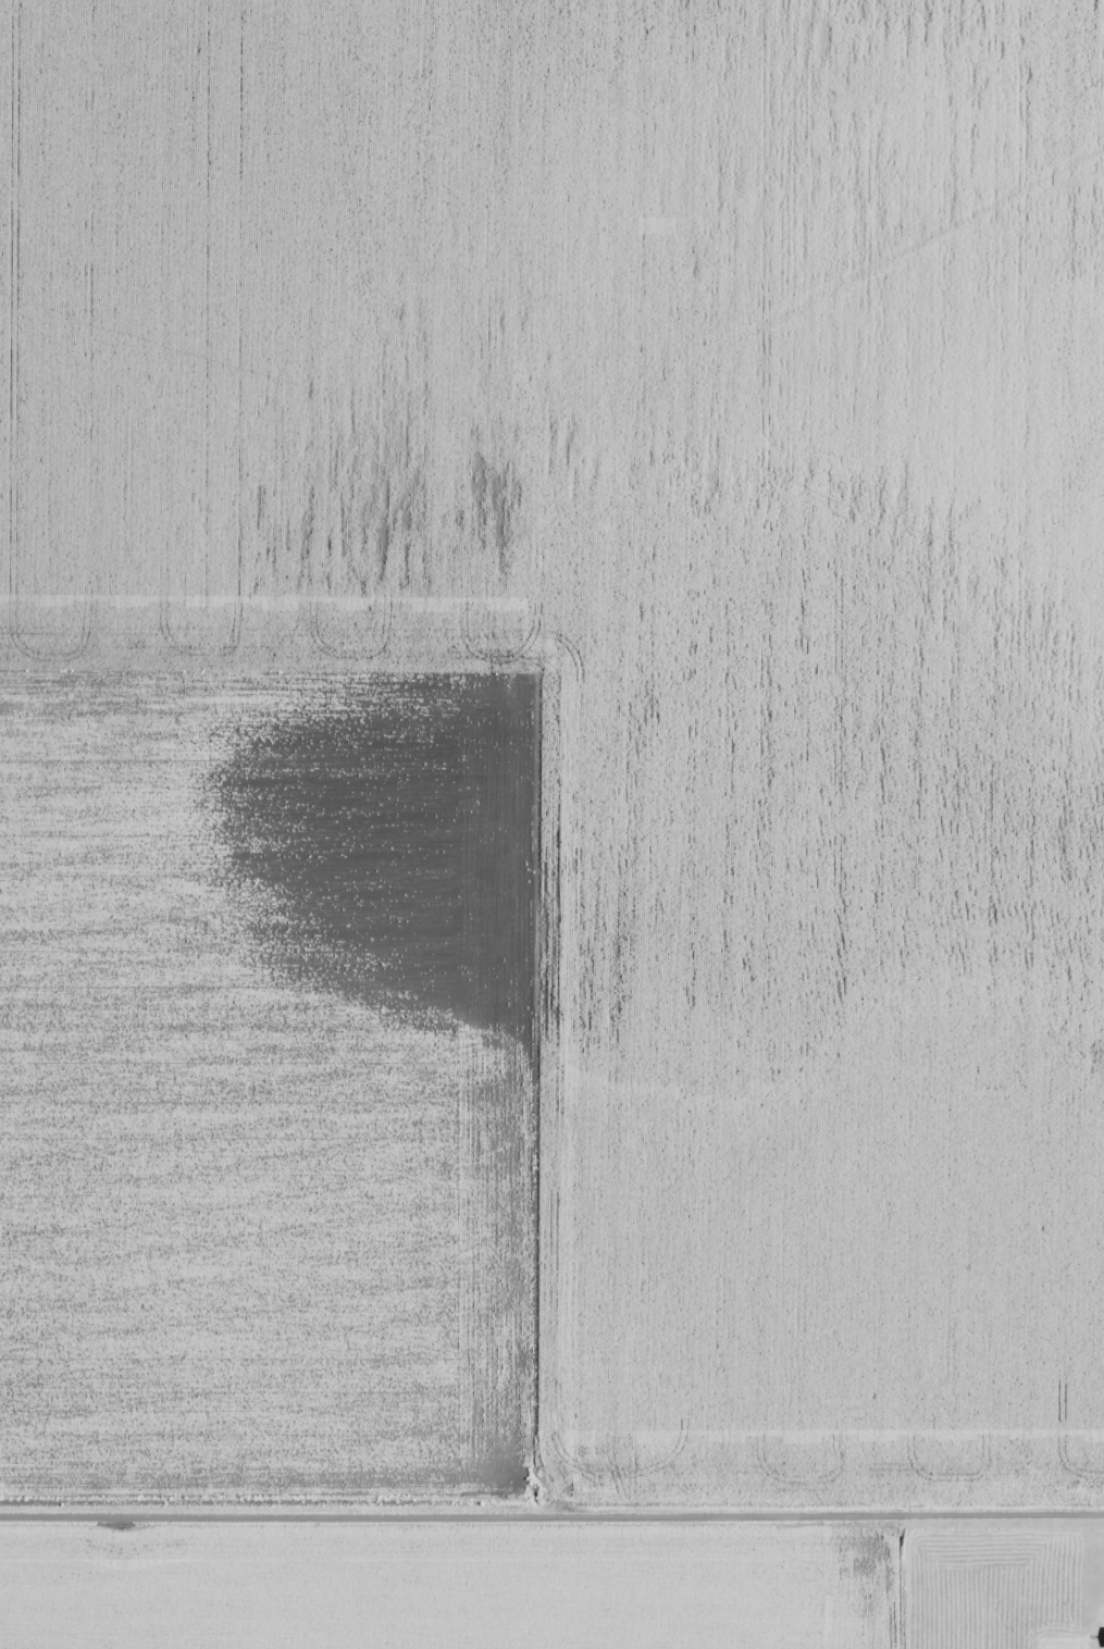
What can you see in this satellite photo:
road: (551, 1537)

